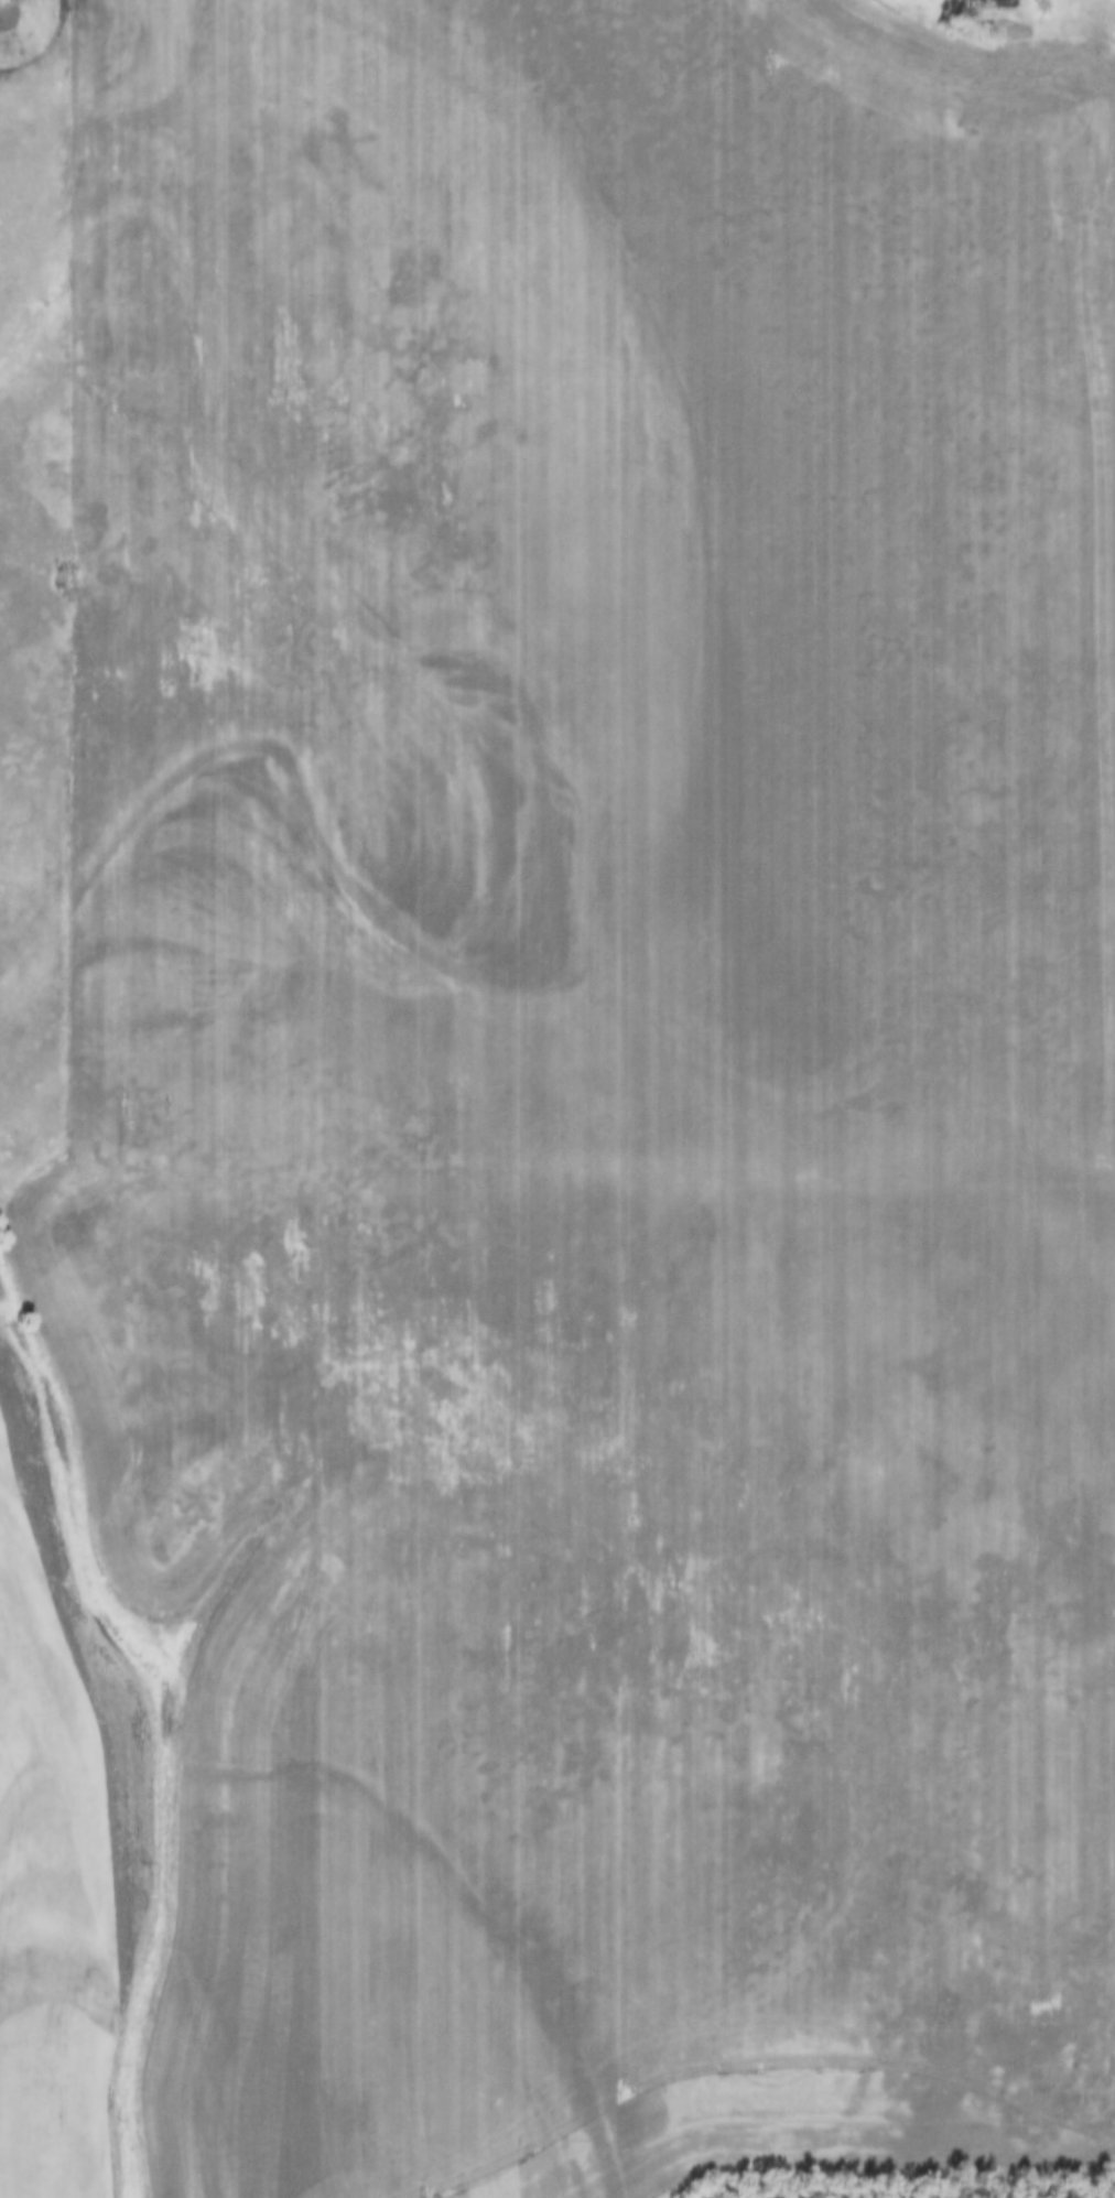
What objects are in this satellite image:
road: (50, 668)

